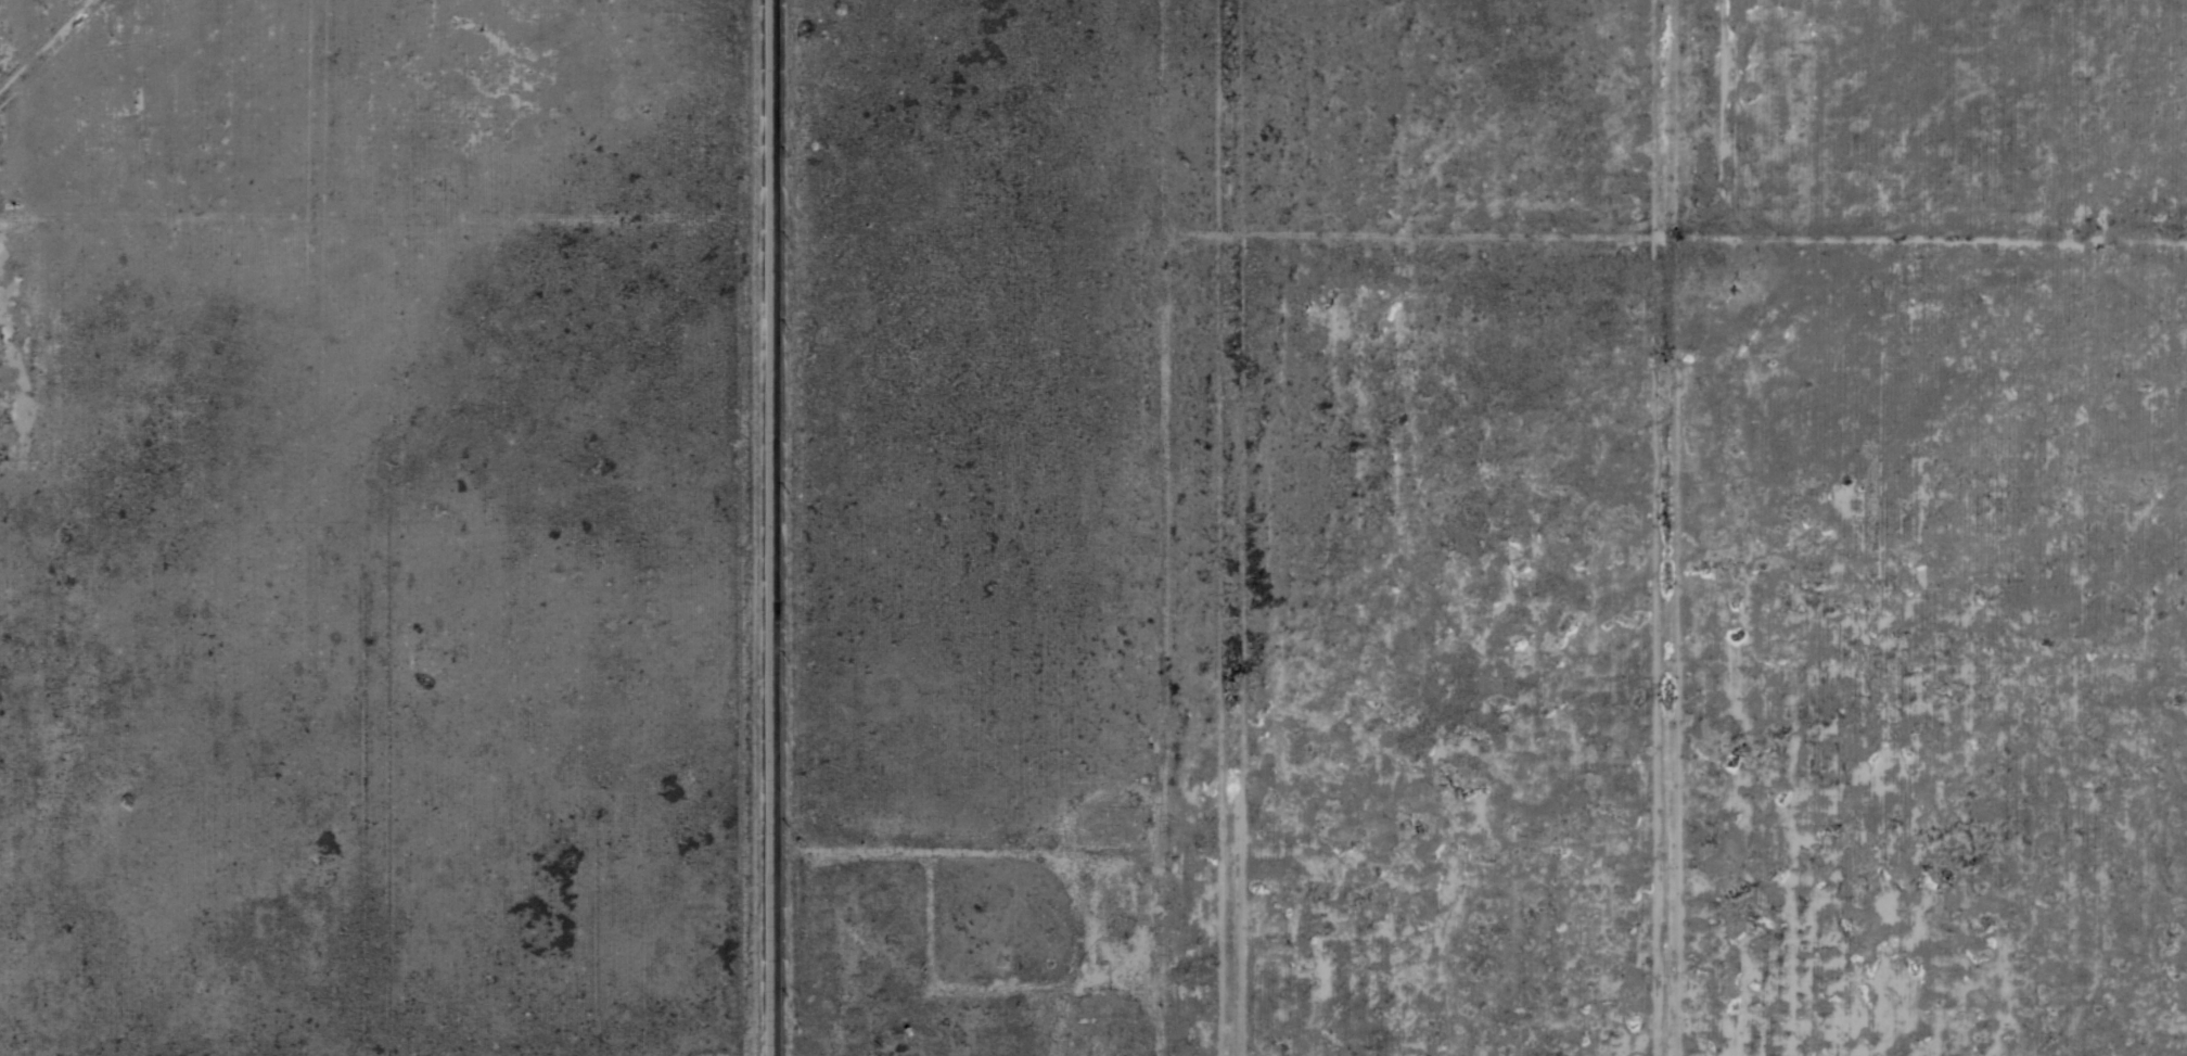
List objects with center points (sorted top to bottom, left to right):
road: (1727, 215)
road: (773, 527)

